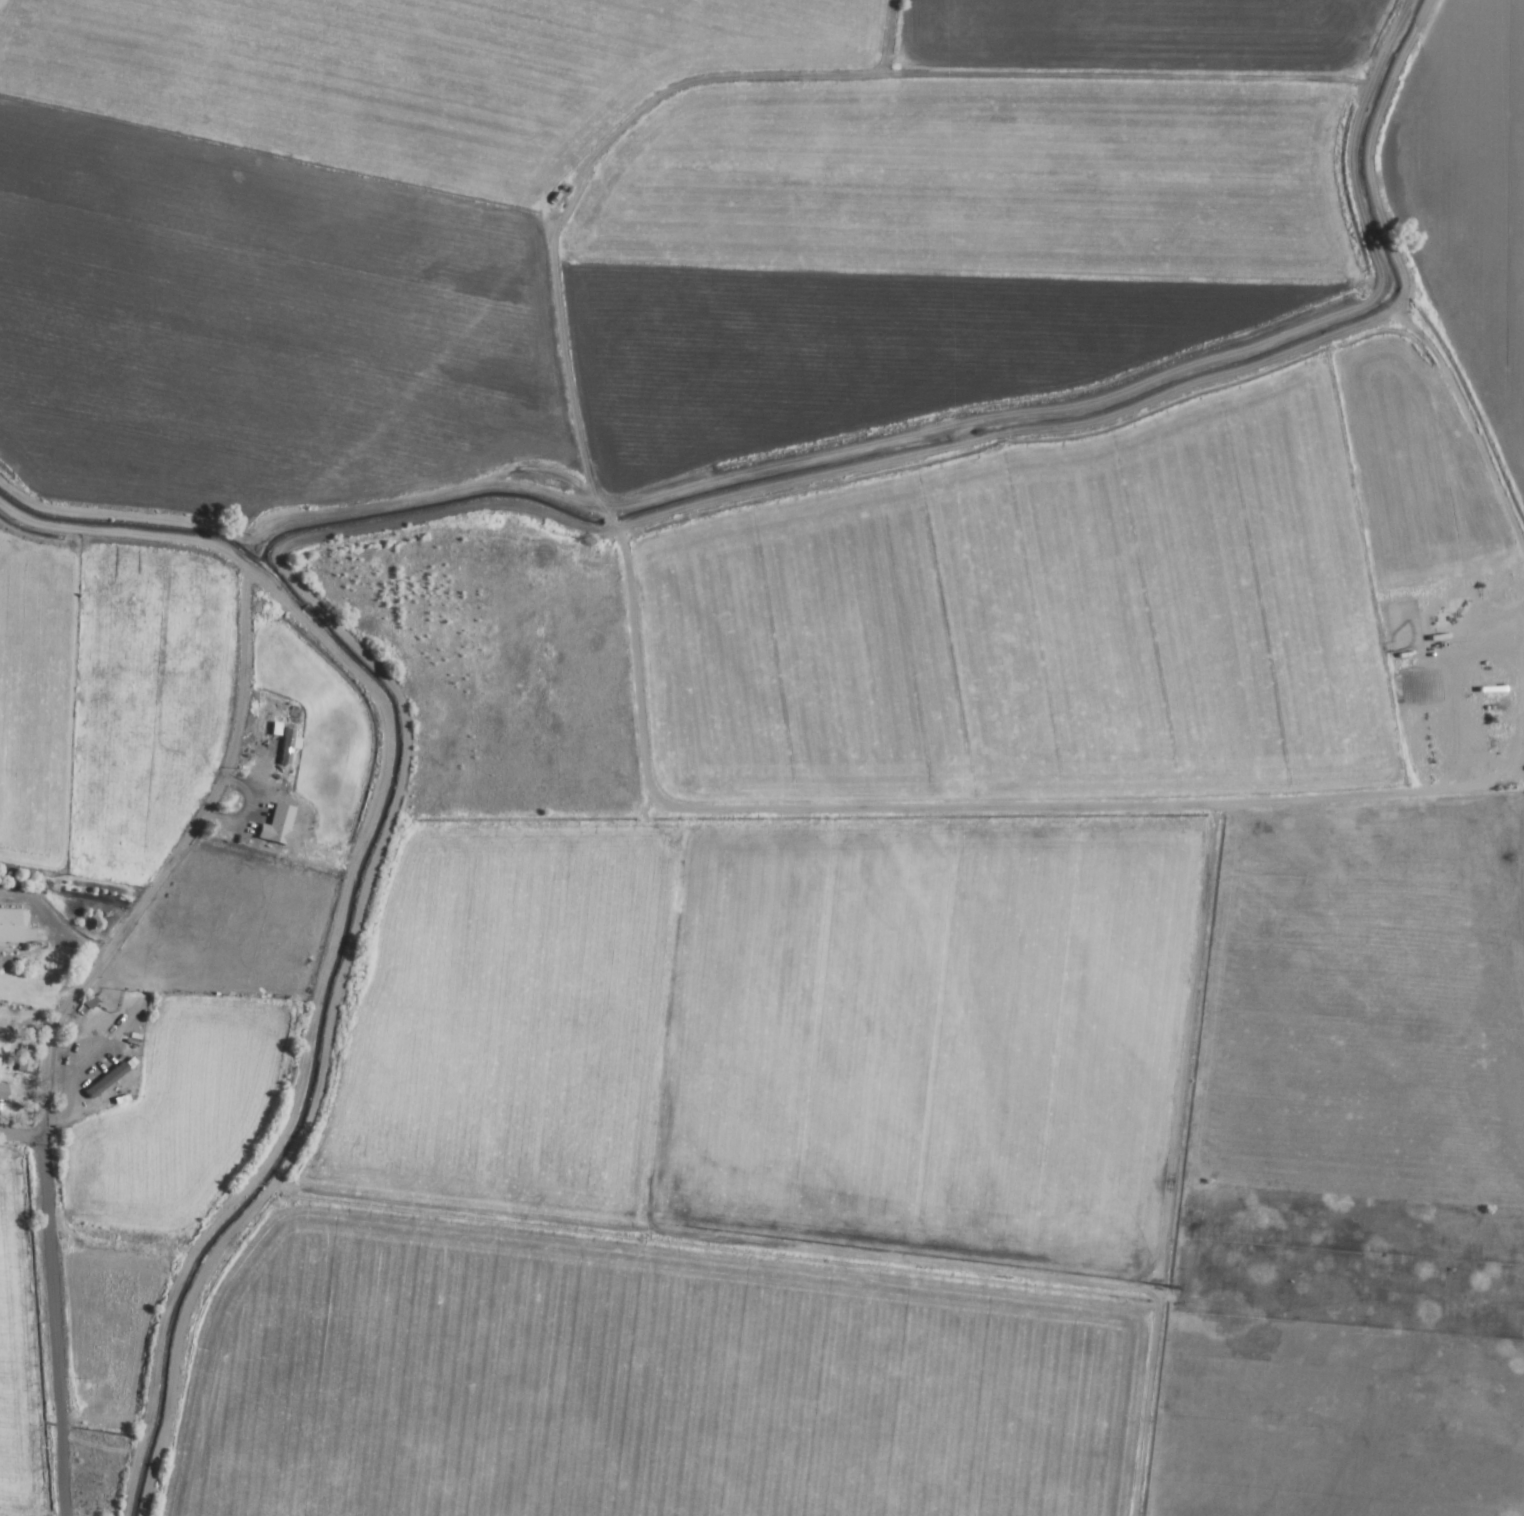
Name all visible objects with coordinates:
building: (283, 747)
building: (273, 826)
building: (11, 926)
building: (21, 1061)
building: (101, 1082)
building: (0, 1089)
road: (15, 1137)
road: (43, 1328)

